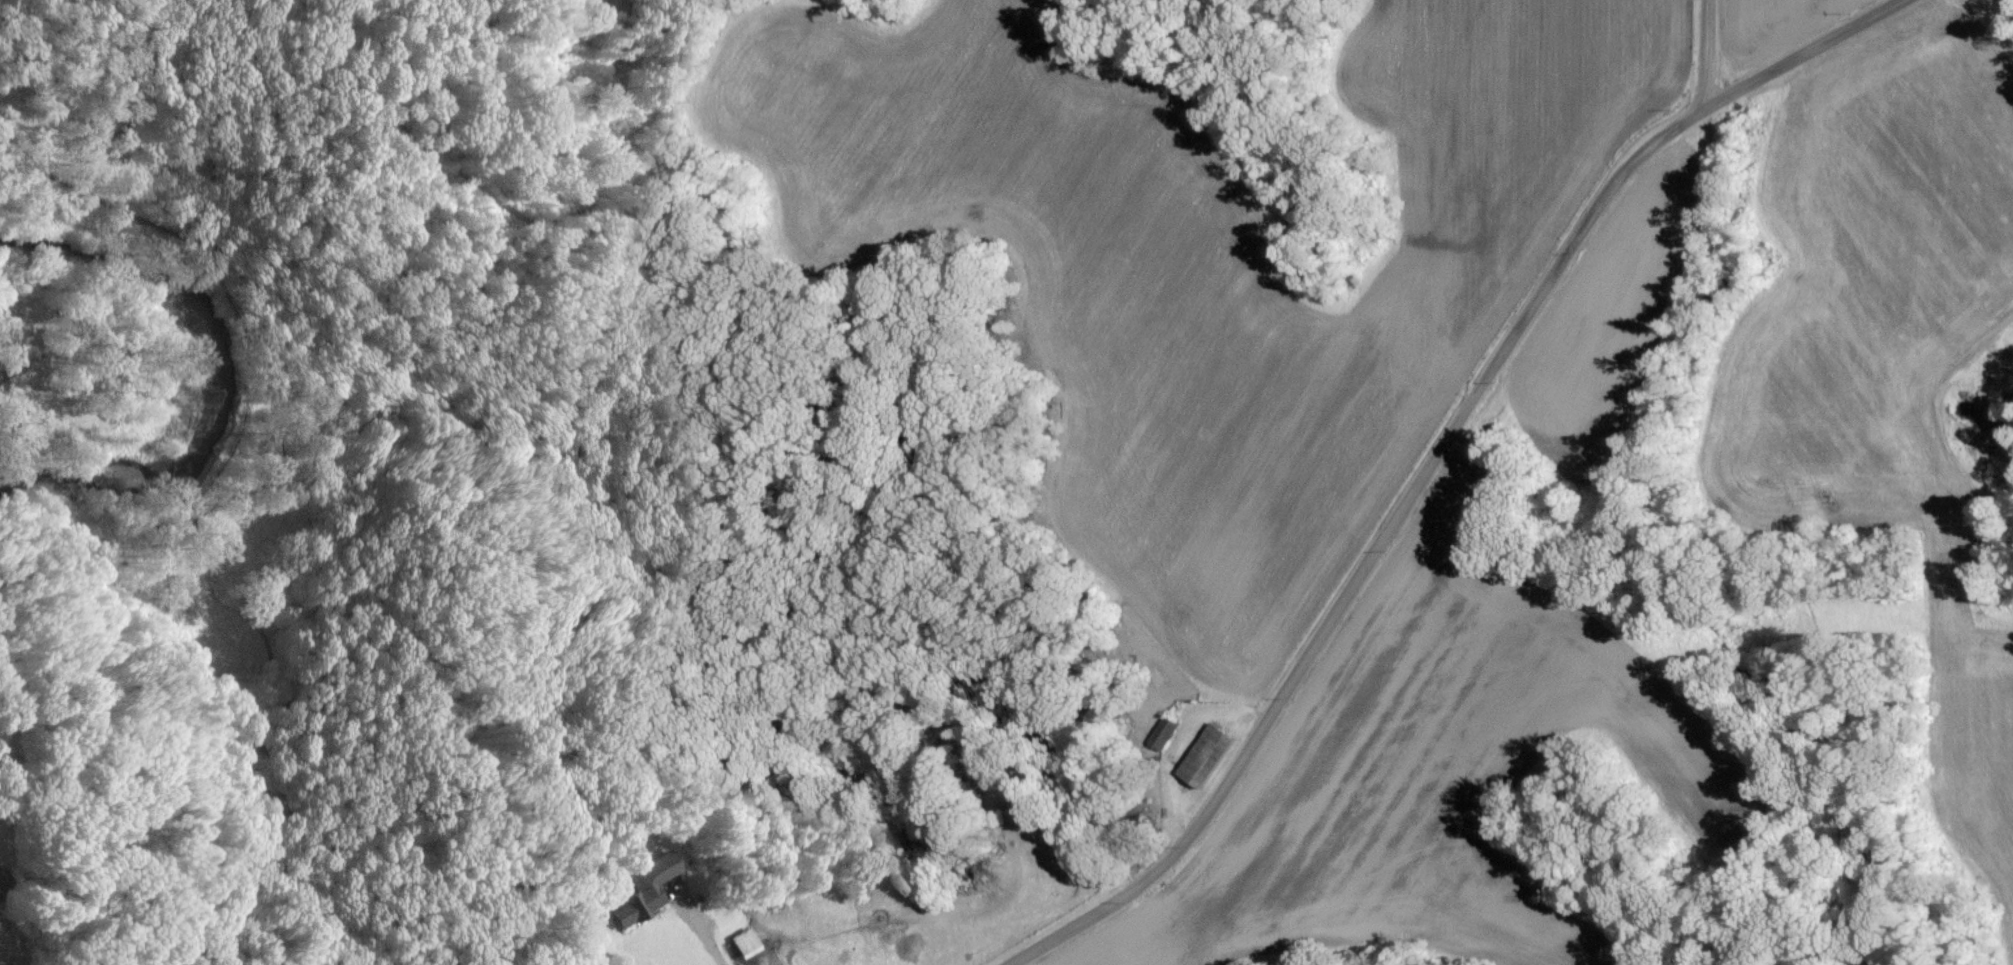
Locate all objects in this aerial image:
road: (1700, 55)
road: (1430, 459)
building: (1163, 732)
building: (1206, 754)
building: (643, 888)
road: (684, 917)
building: (744, 942)

